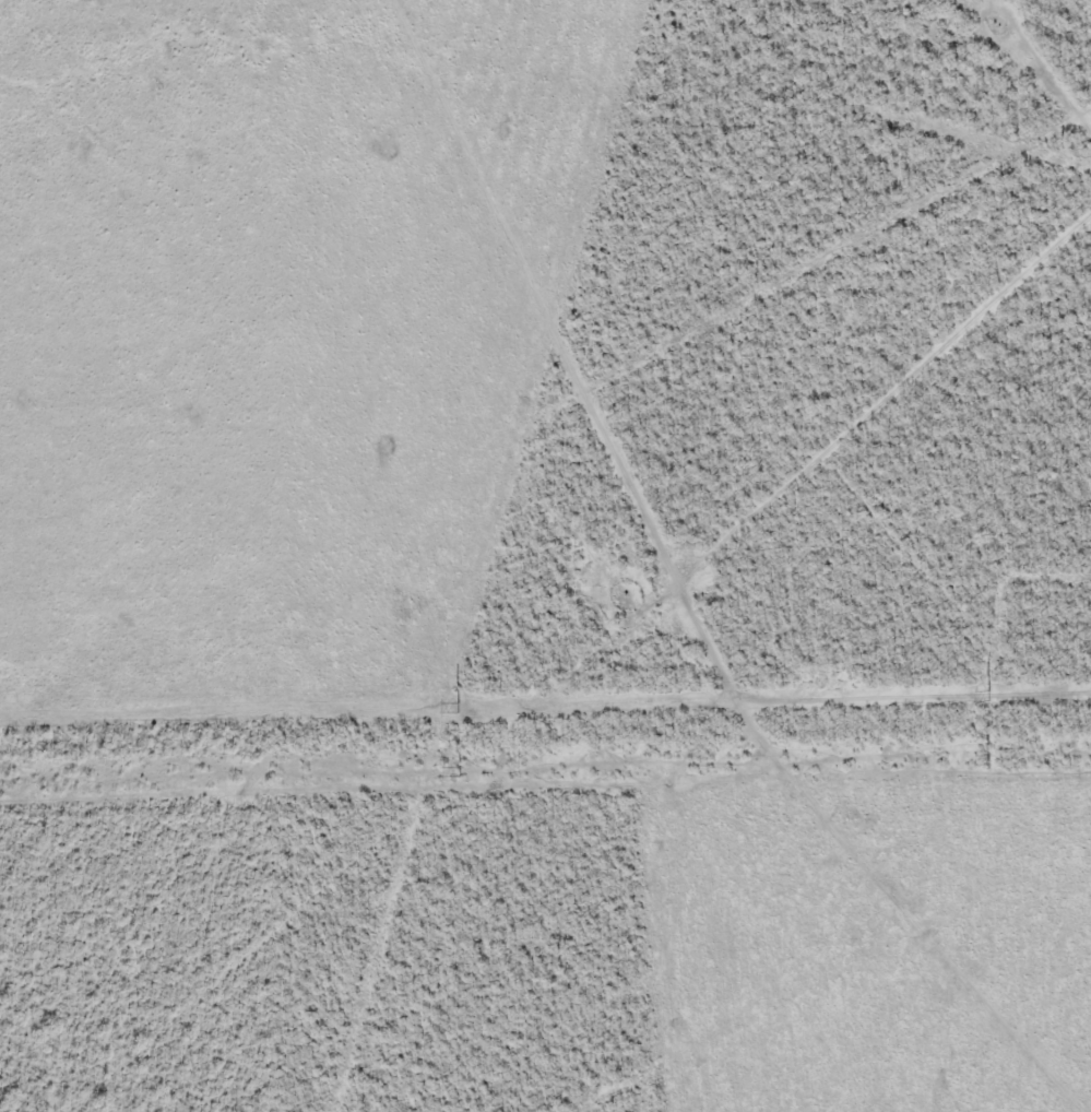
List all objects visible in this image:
power tower: (988, 694)
power tower: (456, 706)
power tower: (991, 762)
power tower: (462, 773)

